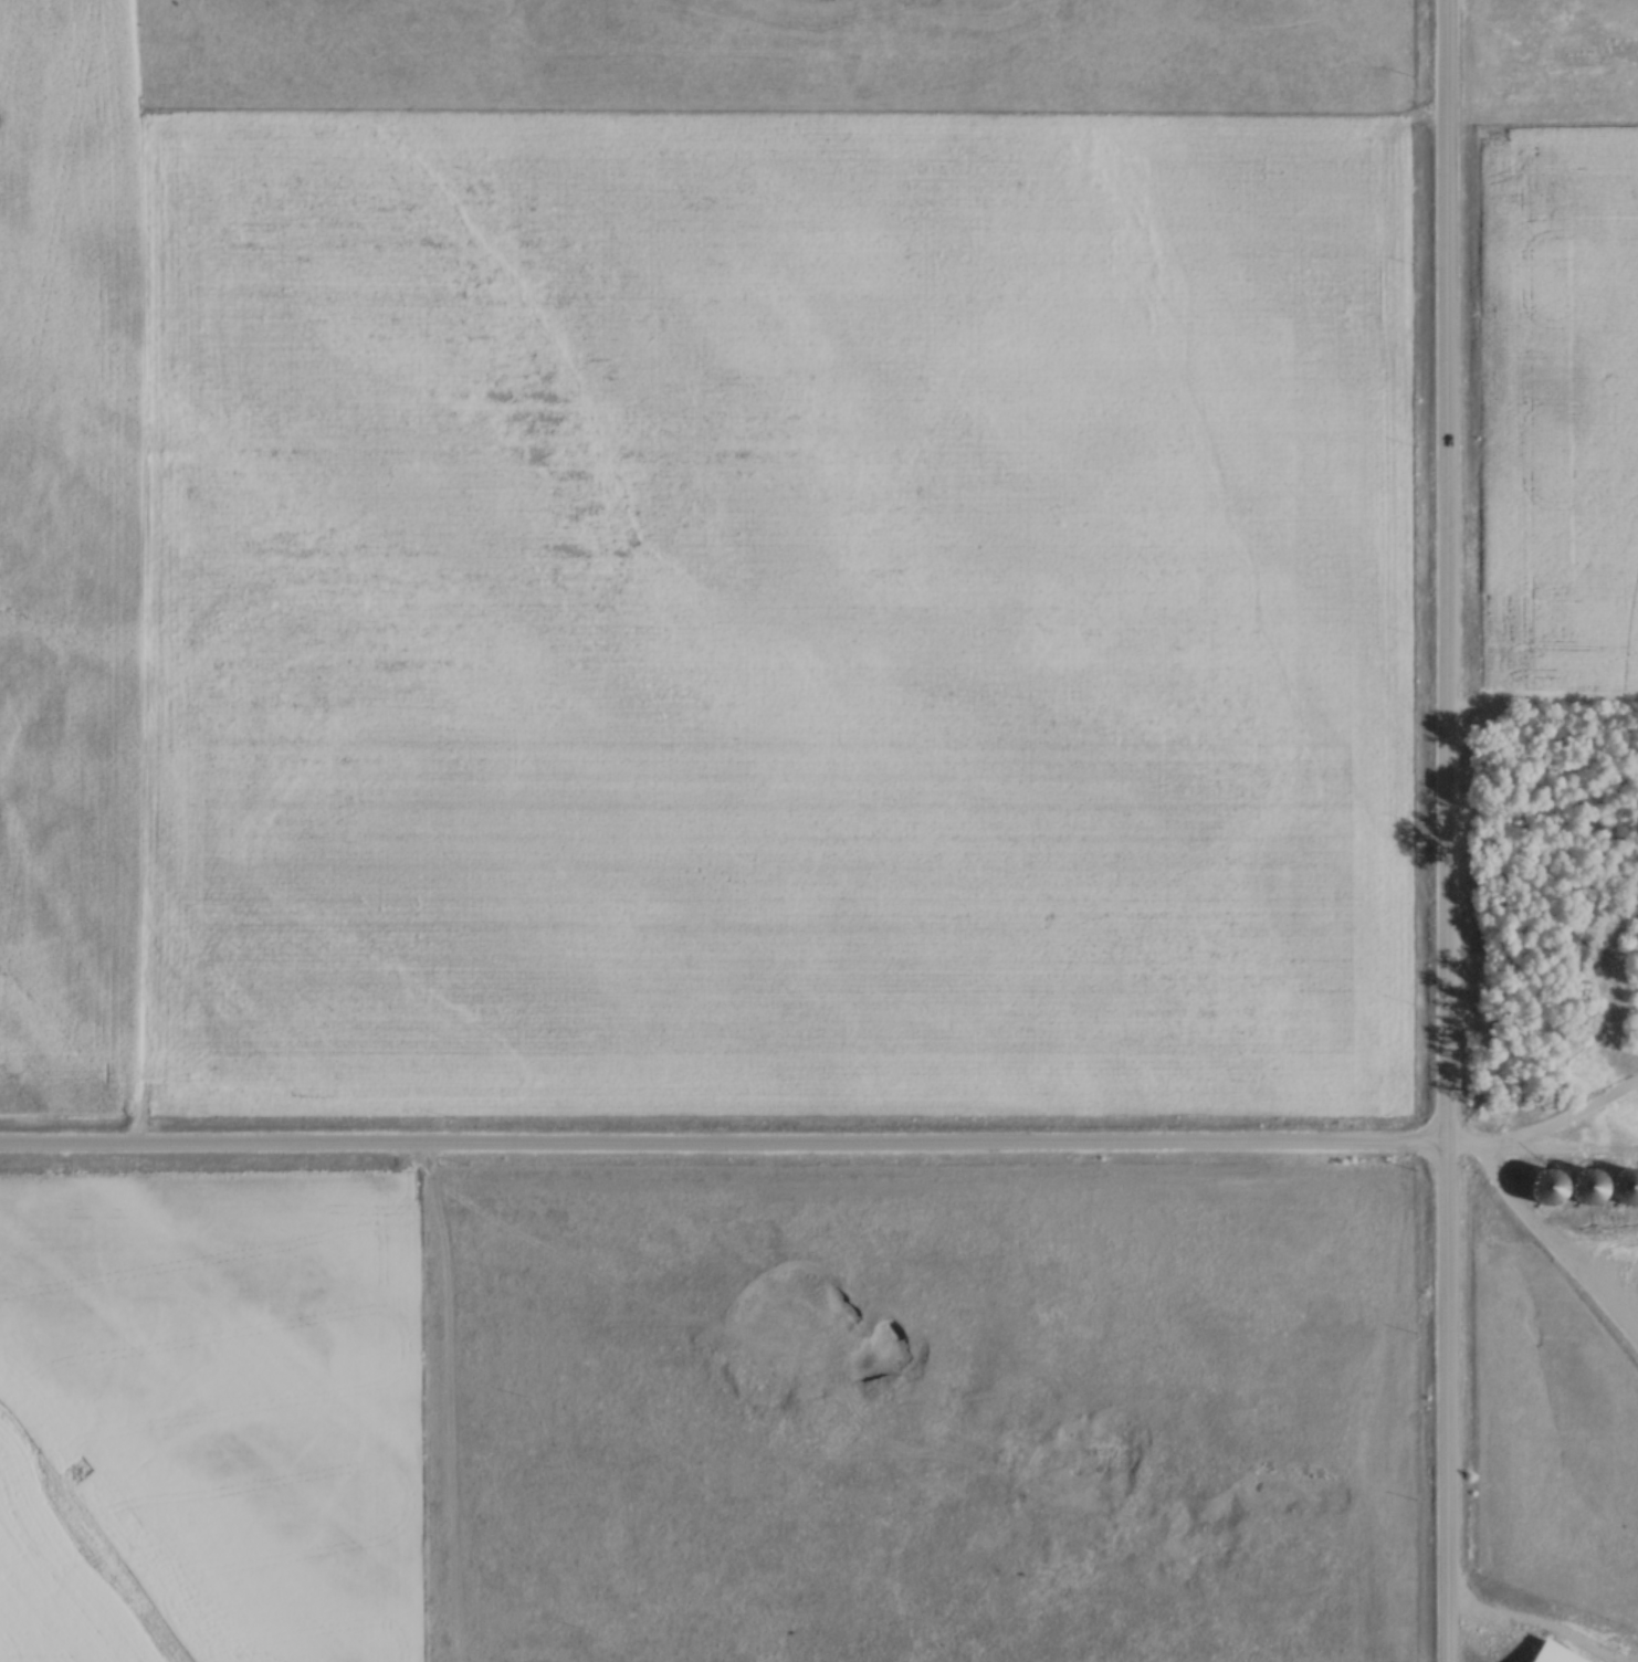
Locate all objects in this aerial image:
road: (1446, 831)
road: (1544, 1132)
road: (723, 1146)

